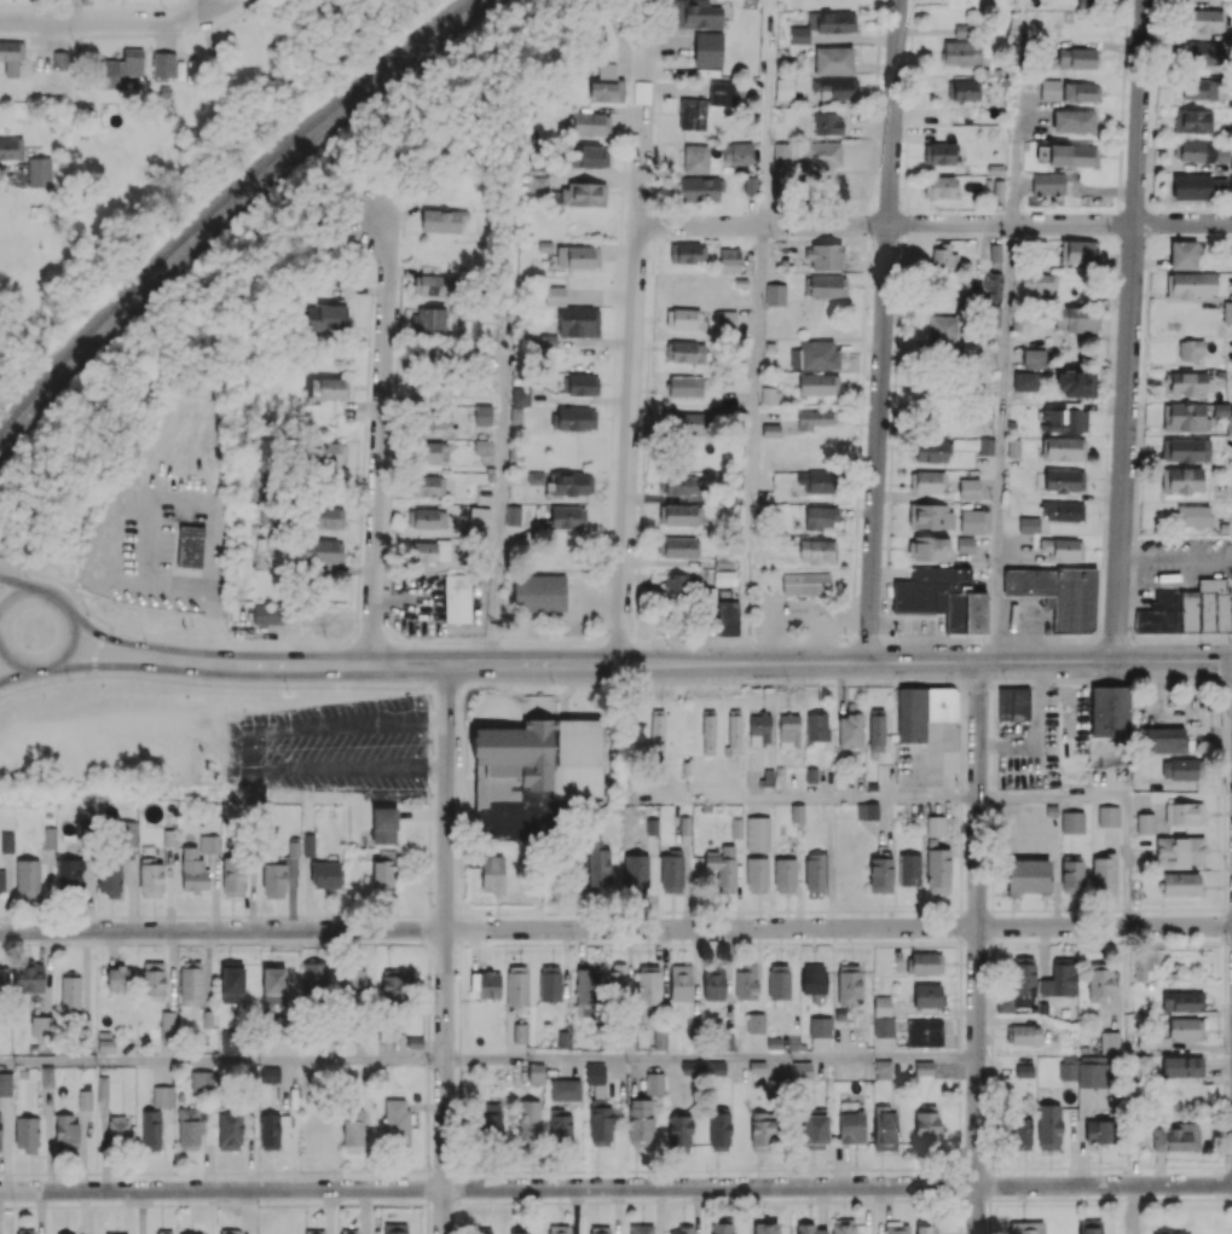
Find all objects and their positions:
building: (1084, 4)
road: (210, 5)
road: (227, 5)
road: (77, 10)
building: (696, 15)
building: (1204, 19)
road: (108, 21)
building: (822, 24)
building: (961, 30)
building: (707, 48)
building: (961, 52)
building: (1204, 52)
building: (11, 56)
building: (1076, 58)
building: (59, 59)
building: (833, 60)
building: (163, 64)
building: (118, 68)
building: (606, 85)
building: (835, 87)
building: (783, 88)
building: (1199, 88)
building: (964, 89)
building: (1049, 89)
building: (1081, 92)
building: (721, 93)
building: (692, 114)
road: (767, 118)
building: (1072, 121)
building: (1193, 121)
building: (827, 122)
building: (591, 123)
road: (1016, 127)
building: (11, 147)
building: (781, 151)
building: (1193, 151)
building: (739, 153)
building: (939, 153)
building: (822, 155)
building: (1071, 155)
building: (589, 156)
building: (695, 158)
building: (1231, 163)
building: (39, 172)
building: (1047, 183)
building: (938, 186)
building: (1197, 186)
building: (699, 189)
building: (583, 193)
railway: (224, 201)
railway: (233, 209)
building: (443, 220)
road: (1182, 222)
road: (886, 225)
building: (995, 251)
building: (1078, 251)
building: (688, 253)
building: (1182, 254)
building: (825, 255)
building: (578, 256)
building: (943, 256)
building: (729, 259)
building: (430, 284)
building: (1190, 284)
building: (827, 285)
building: (1040, 285)
building: (993, 286)
building: (775, 294)
building: (555, 295)
building: (1227, 312)
building: (325, 315)
building: (990, 315)
building: (683, 318)
building: (428, 319)
building: (1075, 319)
building: (577, 320)
building: (725, 320)
road: (1129, 330)
road: (883, 331)
building: (942, 332)
road: (634, 344)
building: (1191, 349)
building: (686, 350)
building: (432, 354)
building: (814, 355)
building: (1034, 358)
building: (1025, 381)
building: (1186, 382)
building: (819, 383)
building: (1076, 383)
building: (582, 384)
building: (684, 386)
building: (328, 388)
building: (520, 395)
building: (770, 395)
building: (482, 416)
building: (1185, 417)
building: (436, 418)
building: (573, 418)
building: (812, 418)
building: (688, 423)
building: (770, 429)
road: (380, 433)
road: (1001, 442)
road: (752, 444)
building: (482, 446)
building: (987, 446)
building: (1064, 447)
building: (1185, 450)
building: (430, 451)
building: (932, 451)
building: (328, 452)
building: (1181, 480)
building: (817, 481)
building: (927, 481)
building: (573, 483)
building: (428, 485)
building: (678, 485)
building: (968, 488)
road: (502, 508)
building: (1063, 510)
building: (681, 514)
building: (513, 515)
building: (1192, 515)
building: (328, 516)
building: (479, 516)
building: (568, 516)
building: (821, 516)
building: (930, 516)
building: (427, 518)
building: (971, 521)
building: (1029, 525)
road: (116, 532)
building: (965, 544)
building: (190, 545)
building: (678, 546)
building: (930, 548)
building: (1062, 548)
building: (323, 550)
building: (430, 551)
building: (817, 551)
road: (1176, 552)
road: (13, 573)
building: (724, 578)
road: (12, 580)
road: (56, 583)
building: (670, 583)
building: (805, 583)
building: (539, 592)
building: (1058, 593)
building: (943, 596)
building: (457, 598)
building: (1205, 606)
building: (1159, 613)
building: (268, 614)
road: (122, 635)
road: (73, 636)
road: (116, 660)
road: (18, 661)
road: (46, 661)
road: (705, 664)
road: (12, 667)
road: (106, 668)
road: (60, 673)
road: (166, 673)
road: (1185, 679)
road: (1227, 679)
road: (15, 680)
road: (247, 680)
road: (852, 680)
road: (976, 680)
road: (1060, 680)
road: (1138, 680)
road: (355, 682)
road: (522, 682)
road: (615, 682)
road: (663, 682)
road: (688, 682)
road: (716, 682)
road: (739, 682)
road: (446, 683)
road: (1224, 684)
road: (1224, 695)
building: (941, 703)
building: (1013, 703)
building: (1109, 709)
building: (912, 714)
building: (816, 726)
road: (1224, 726)
building: (759, 728)
building: (875, 729)
building: (657, 730)
building: (850, 730)
building: (707, 731)
building: (733, 731)
building: (788, 731)
road: (459, 738)
building: (1164, 740)
road: (993, 743)
road: (429, 766)
building: (1181, 769)
road: (1225, 771)
building: (532, 772)
road: (1114, 793)
road: (961, 795)
road: (811, 799)
building: (867, 811)
building: (1184, 812)
building: (1107, 816)
building: (1072, 822)
building: (1145, 823)
building: (383, 825)
building: (935, 825)
building: (125, 833)
building: (757, 834)
building: (50, 838)
building: (6, 841)
building: (208, 844)
road: (993, 844)
building: (307, 845)
building: (294, 847)
building: (1180, 850)
road: (1224, 850)
road: (461, 852)
road: (429, 857)
building: (598, 862)
building: (722, 867)
building: (384, 869)
building: (909, 869)
building: (193, 870)
building: (938, 870)
building: (636, 871)
building: (671, 871)
building: (815, 871)
building: (69, 873)
building: (1071, 873)
building: (1104, 873)
building: (325, 874)
building: (492, 874)
building: (757, 874)
building: (880, 874)
building: (27, 875)
building: (233, 875)
building: (785, 875)
building: (109, 876)
building: (1026, 876)
building: (151, 880)
building: (273, 880)
building: (1180, 884)
road: (429, 890)
road: (991, 897)
road: (1227, 906)
road: (955, 909)
road: (1068, 909)
road: (1164, 909)
road: (706, 910)
road: (733, 910)
road: (765, 910)
road: (826, 910)
road: (881, 910)
road: (909, 910)
road: (933, 910)
road: (1011, 910)
road: (516, 911)
road: (618, 911)
road: (675, 911)
road: (961, 925)
road: (990, 925)
road: (1225, 925)
road: (430, 926)
road: (615, 929)
road: (767, 942)
road: (796, 942)
road: (884, 942)
road: (1037, 942)
road: (1093, 942)
road: (1114, 942)
road: (1136, 942)
road: (1187, 942)
road: (488, 943)
road: (511, 943)
road: (568, 943)
road: (618, 943)
road: (663, 943)
road: (711, 943)
road: (728, 943)
road: (744, 943)
road: (469, 944)
road: (445, 945)
road: (977, 948)
road: (991, 951)
road: (428, 958)
building: (926, 962)
building: (1143, 963)
road: (459, 966)
building: (1023, 975)
road: (990, 977)
building: (4, 978)
building: (28, 978)
building: (118, 978)
building: (615, 978)
building: (812, 978)
building: (1060, 978)
building: (314, 979)
building: (355, 979)
building: (152, 980)
building: (681, 981)
building: (713, 981)
building: (746, 981)
building: (779, 981)
building: (1099, 981)
building: (191, 983)
building: (550, 983)
building: (849, 983)
building: (232, 984)
building: (486, 984)
building: (273, 985)
building: (585, 985)
building: (648, 985)
building: (393, 987)
building: (516, 987)
road: (428, 991)
building: (70, 993)
road: (1224, 993)
building: (927, 995)
building: (1182, 1001)
building: (1005, 1004)
road: (959, 1015)
building: (883, 1018)
building: (756, 1022)
building: (40, 1026)
building: (167, 1026)
building: (820, 1026)
building: (1185, 1029)
building: (924, 1032)
road: (990, 1033)
building: (1023, 1033)
building: (660, 1038)
road: (459, 1039)
building: (229, 1041)
building: (1109, 1042)
road: (710, 1059)
road: (221, 1061)
building: (1181, 1066)
building: (924, 1067)
building: (883, 1068)
road: (1225, 1068)
building: (1024, 1070)
building: (1066, 1071)
building: (536, 1073)
building: (595, 1073)
building: (270, 1074)
building: (1093, 1074)
building: (47, 1076)
building: (764, 1078)
building: (201, 1079)
building: (6, 1083)
building: (654, 1083)
building: (103, 1088)
road: (428, 1089)
building: (565, 1089)
building: (162, 1096)
road: (960, 1096)
building: (85, 1100)
building: (487, 1117)
building: (528, 1119)
road: (991, 1120)
building: (397, 1122)
building: (600, 1122)
building: (641, 1123)
road: (1225, 1123)
building: (559, 1124)
road: (959, 1125)
building: (851, 1126)
building: (926, 1126)
building: (1048, 1126)
building: (189, 1128)
building: (151, 1129)
building: (272, 1129)
building: (885, 1129)
building: (117, 1130)
building: (229, 1130)
building: (679, 1130)
building: (762, 1130)
building: (815, 1130)
building: (65, 1131)
building: (353, 1131)
building: (1098, 1131)
building: (25, 1132)
road: (458, 1132)
building: (1020, 1132)
building: (1176, 1137)
road: (959, 1158)
road: (1225, 1160)
road: (1076, 1165)
road: (1186, 1166)
road: (1219, 1166)
road: (846, 1168)
road: (921, 1168)
road: (740, 1169)
road: (792, 1169)
road: (553, 1170)
road: (600, 1170)
road: (667, 1170)
road: (465, 1171)
road: (496, 1171)
road: (528, 1171)
road: (1228, 1171)
road: (989, 1183)
road: (427, 1187)
road: (615, 1187)
road: (1074, 1198)
road: (1168, 1198)
road: (1204, 1198)
road: (835, 1199)
road: (935, 1199)
road: (731, 1200)
road: (443, 1201)
road: (487, 1201)
road: (527, 1201)
road: (620, 1201)
road: (959, 1211)
road: (989, 1216)
road: (427, 1218)
road: (458, 1218)
building: (844, 1226)
building: (1089, 1226)
building: (1026, 1227)
building: (395, 1228)
building: (641, 1228)
building: (721, 1228)
building: (765, 1228)
building: (896, 1228)
road: (960, 1228)
building: (559, 1229)
building: (600, 1229)
building: (809, 1229)
building: (925, 1229)
building: (231, 1230)
building: (681, 1230)
building: (25, 1232)
building: (163, 1232)
building: (186, 1232)
building: (313, 1232)
building: (349, 1232)
building: (60, 1233)
building: (110, 1233)
building: (484, 1233)
building: (519, 1233)
road: (989, 1233)
building: (1186, 1233)

